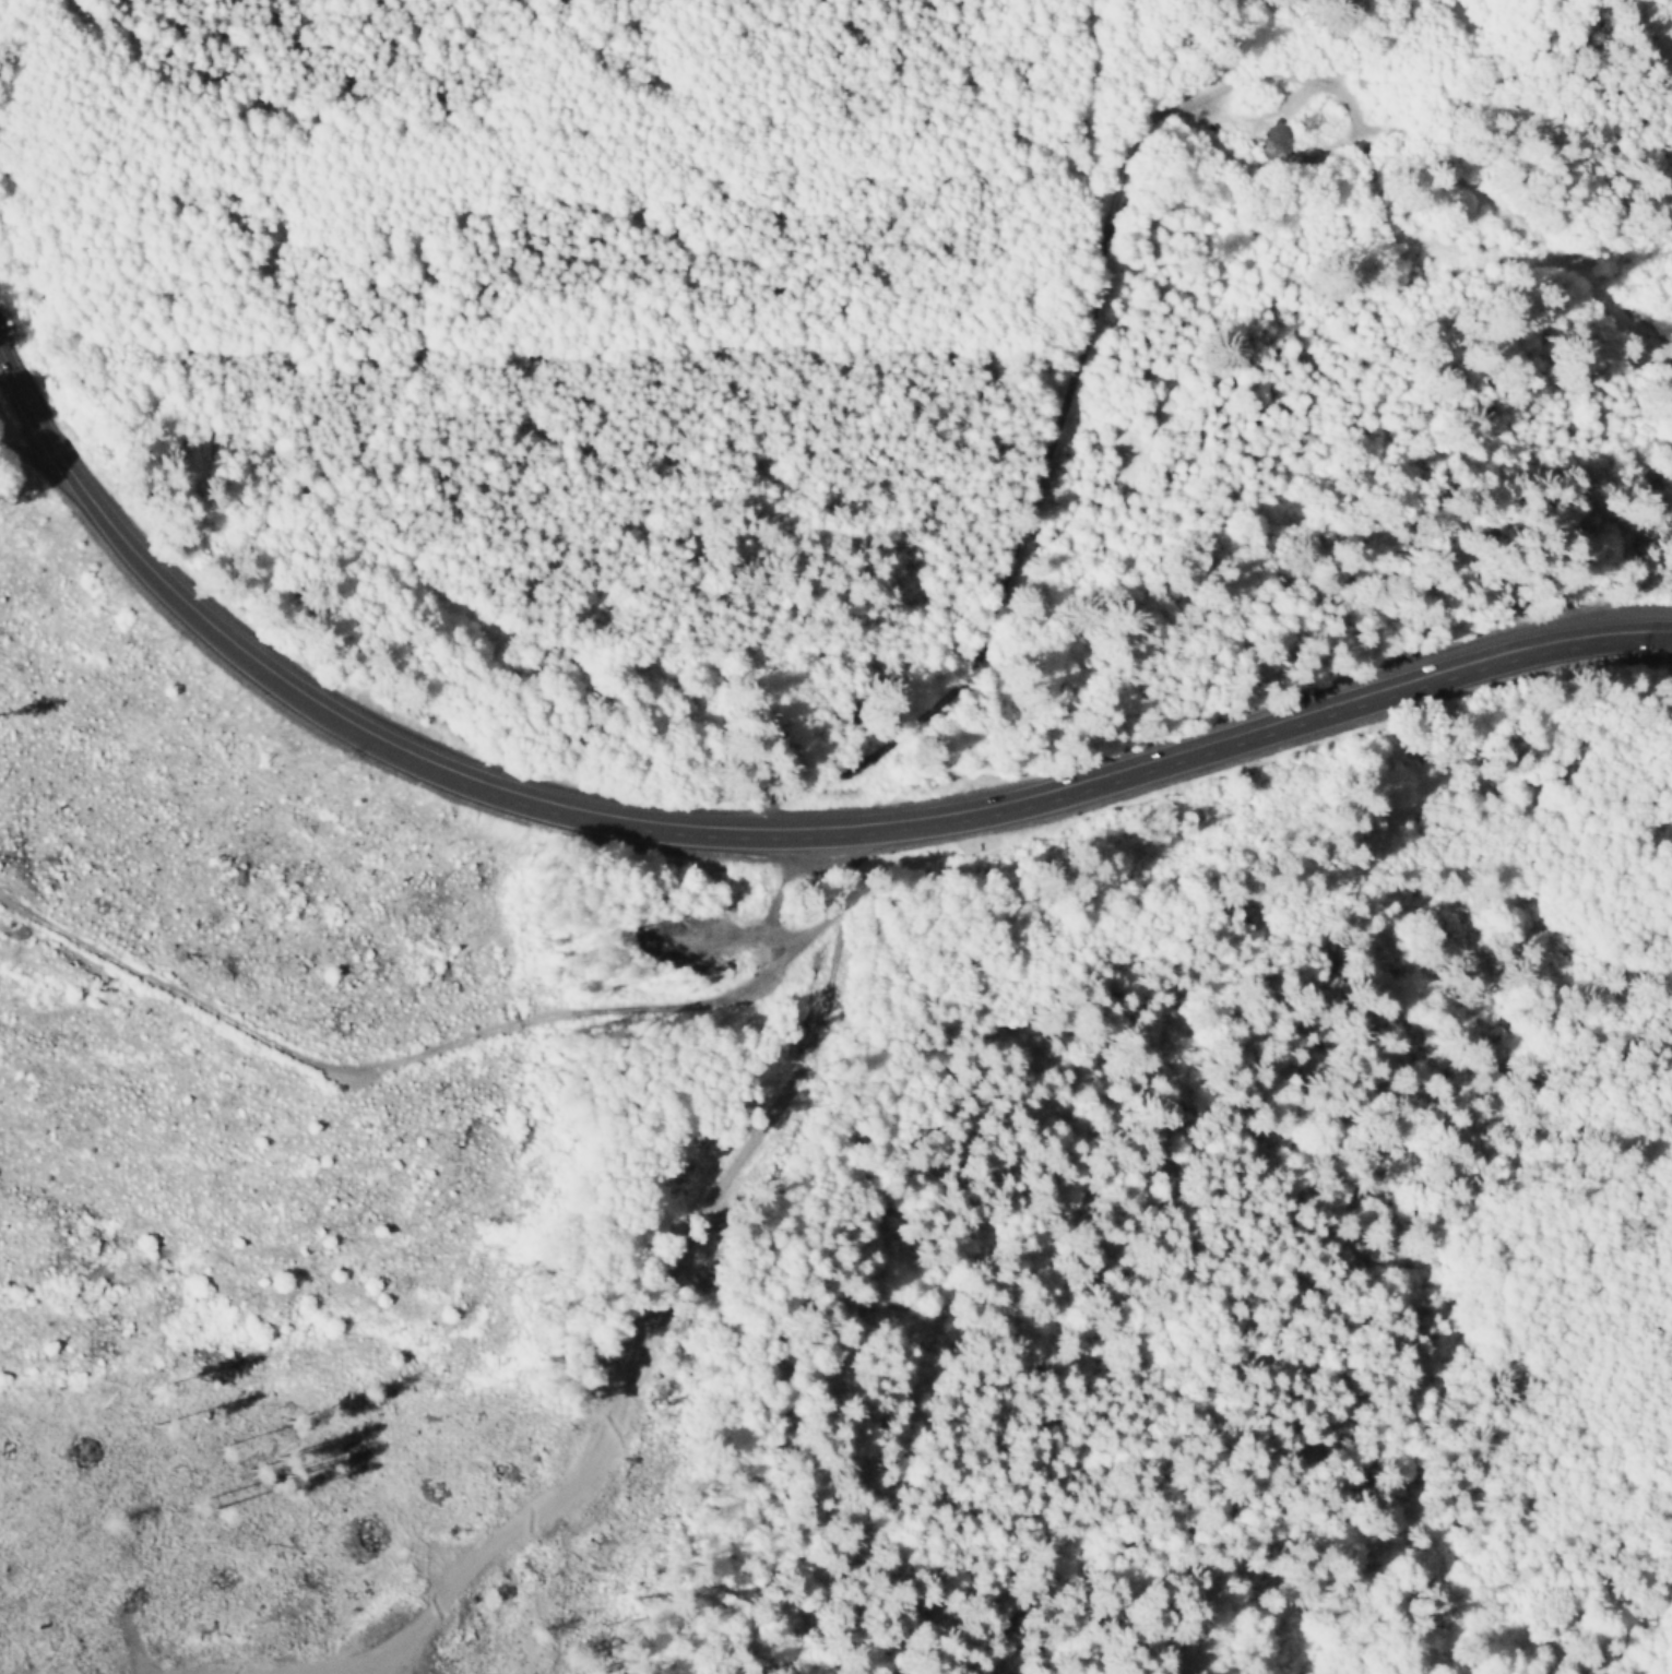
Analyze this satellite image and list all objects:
road: (1198, 108)
road: (51, 437)
road: (1039, 472)
road: (865, 827)
road: (816, 927)

